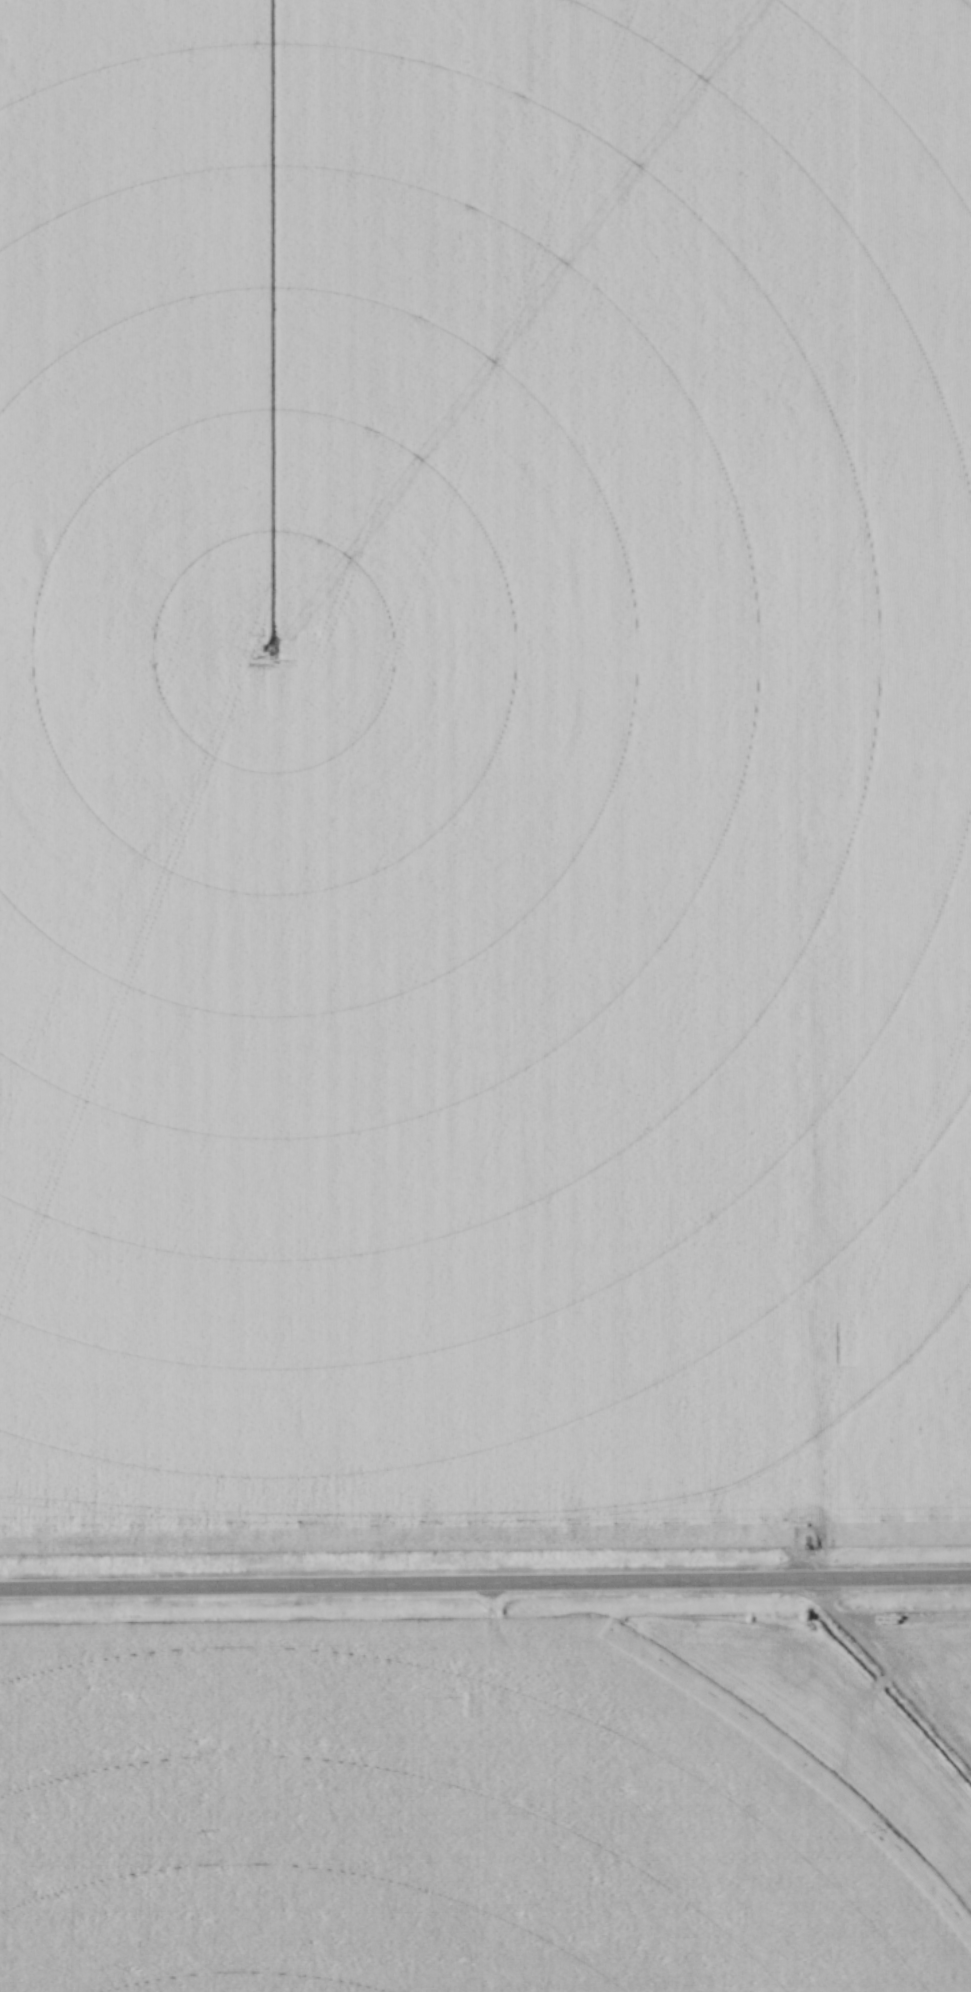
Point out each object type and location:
road: (629, 214)
road: (659, 288)
crop: (484, 771)
road: (485, 1582)
crop: (488, 1806)

